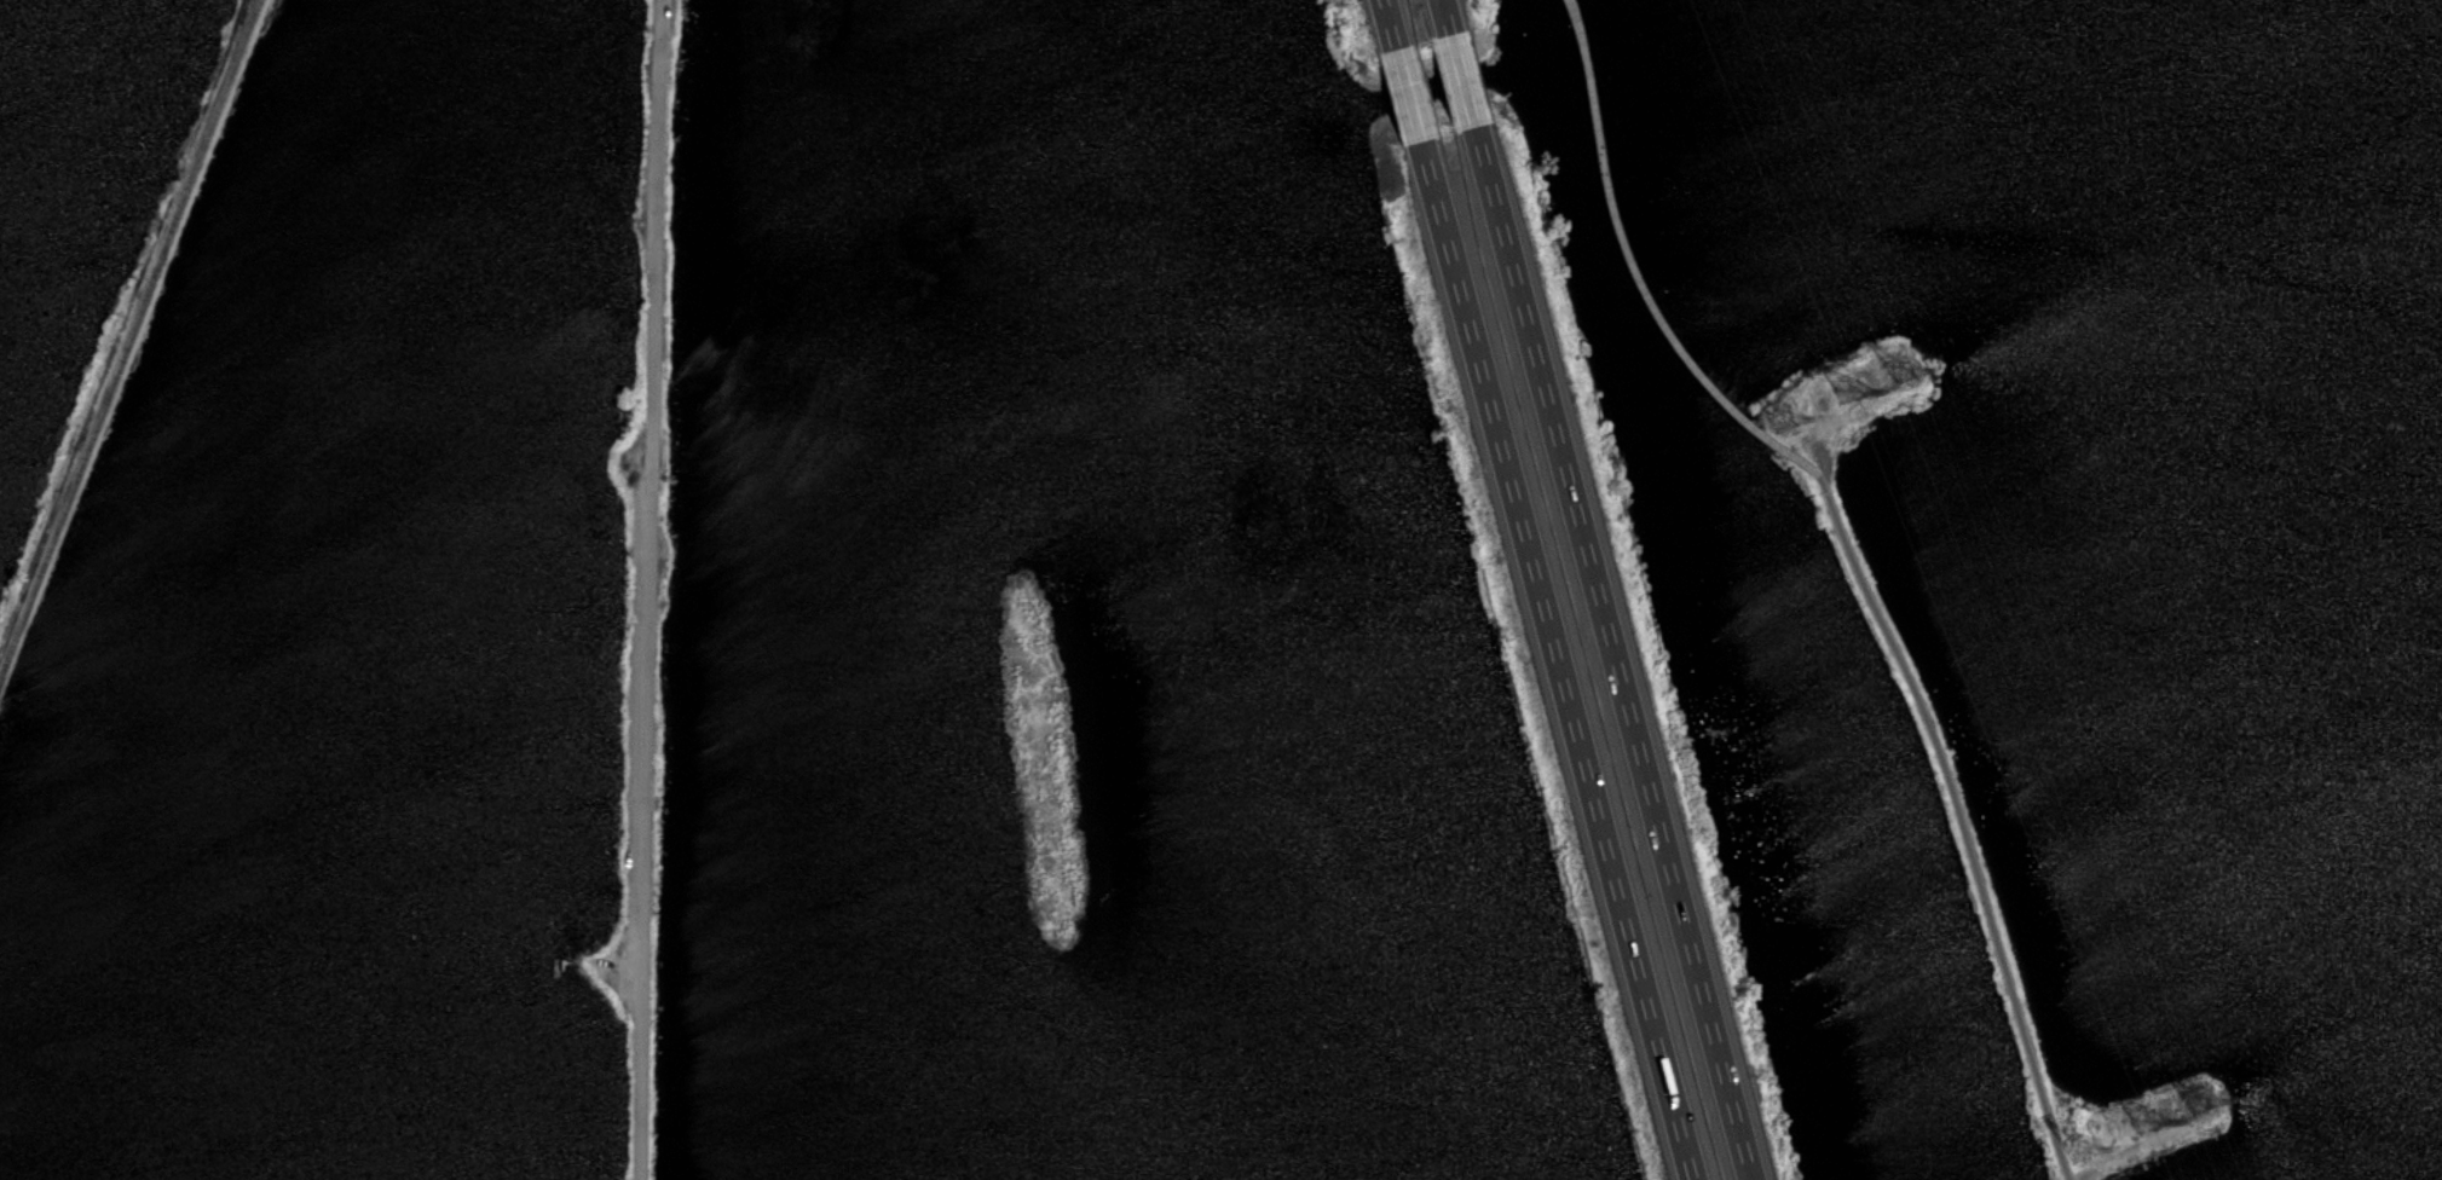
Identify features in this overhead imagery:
road: (1442, 18)
road: (1385, 24)
road: (1459, 80)
road: (1404, 93)
road: (1633, 268)
railway: (129, 340)
power tower: (1904, 372)
power tower: (1847, 392)
power tower: (1784, 422)
park: (336, 585)
road: (653, 589)
road: (1610, 650)
road: (1553, 659)
road: (1959, 820)
power tower: (2200, 1101)
power tower: (2146, 1124)
power tower: (2077, 1153)

